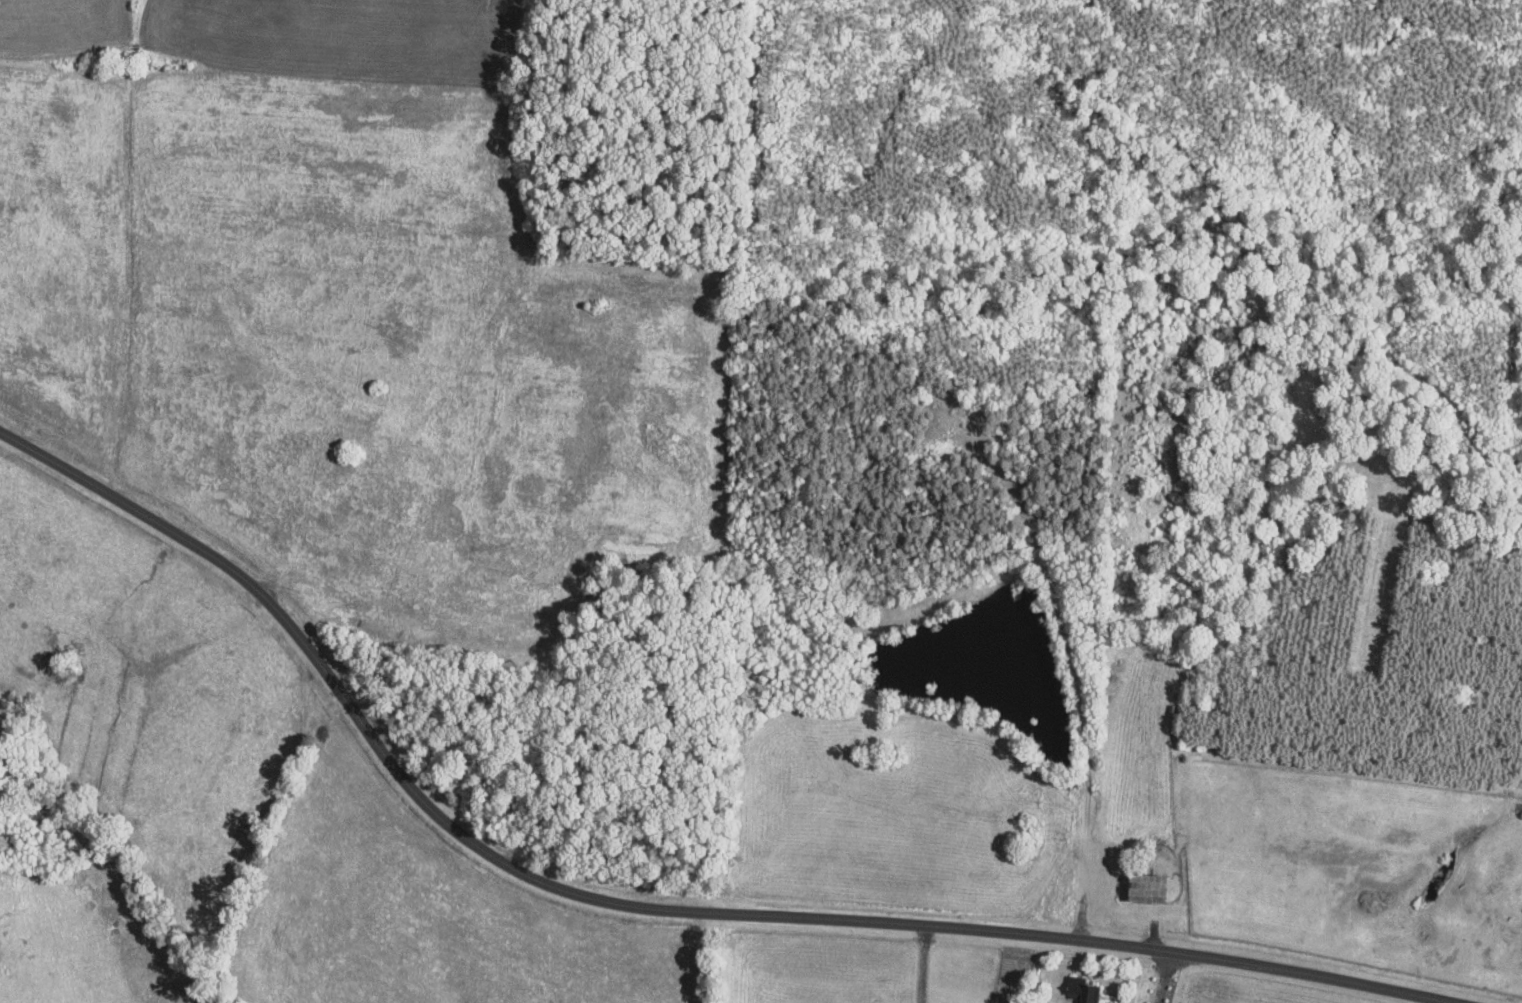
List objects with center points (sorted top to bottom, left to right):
road: (636, 888)
road: (1081, 891)
road: (1161, 977)
building: (1079, 989)

